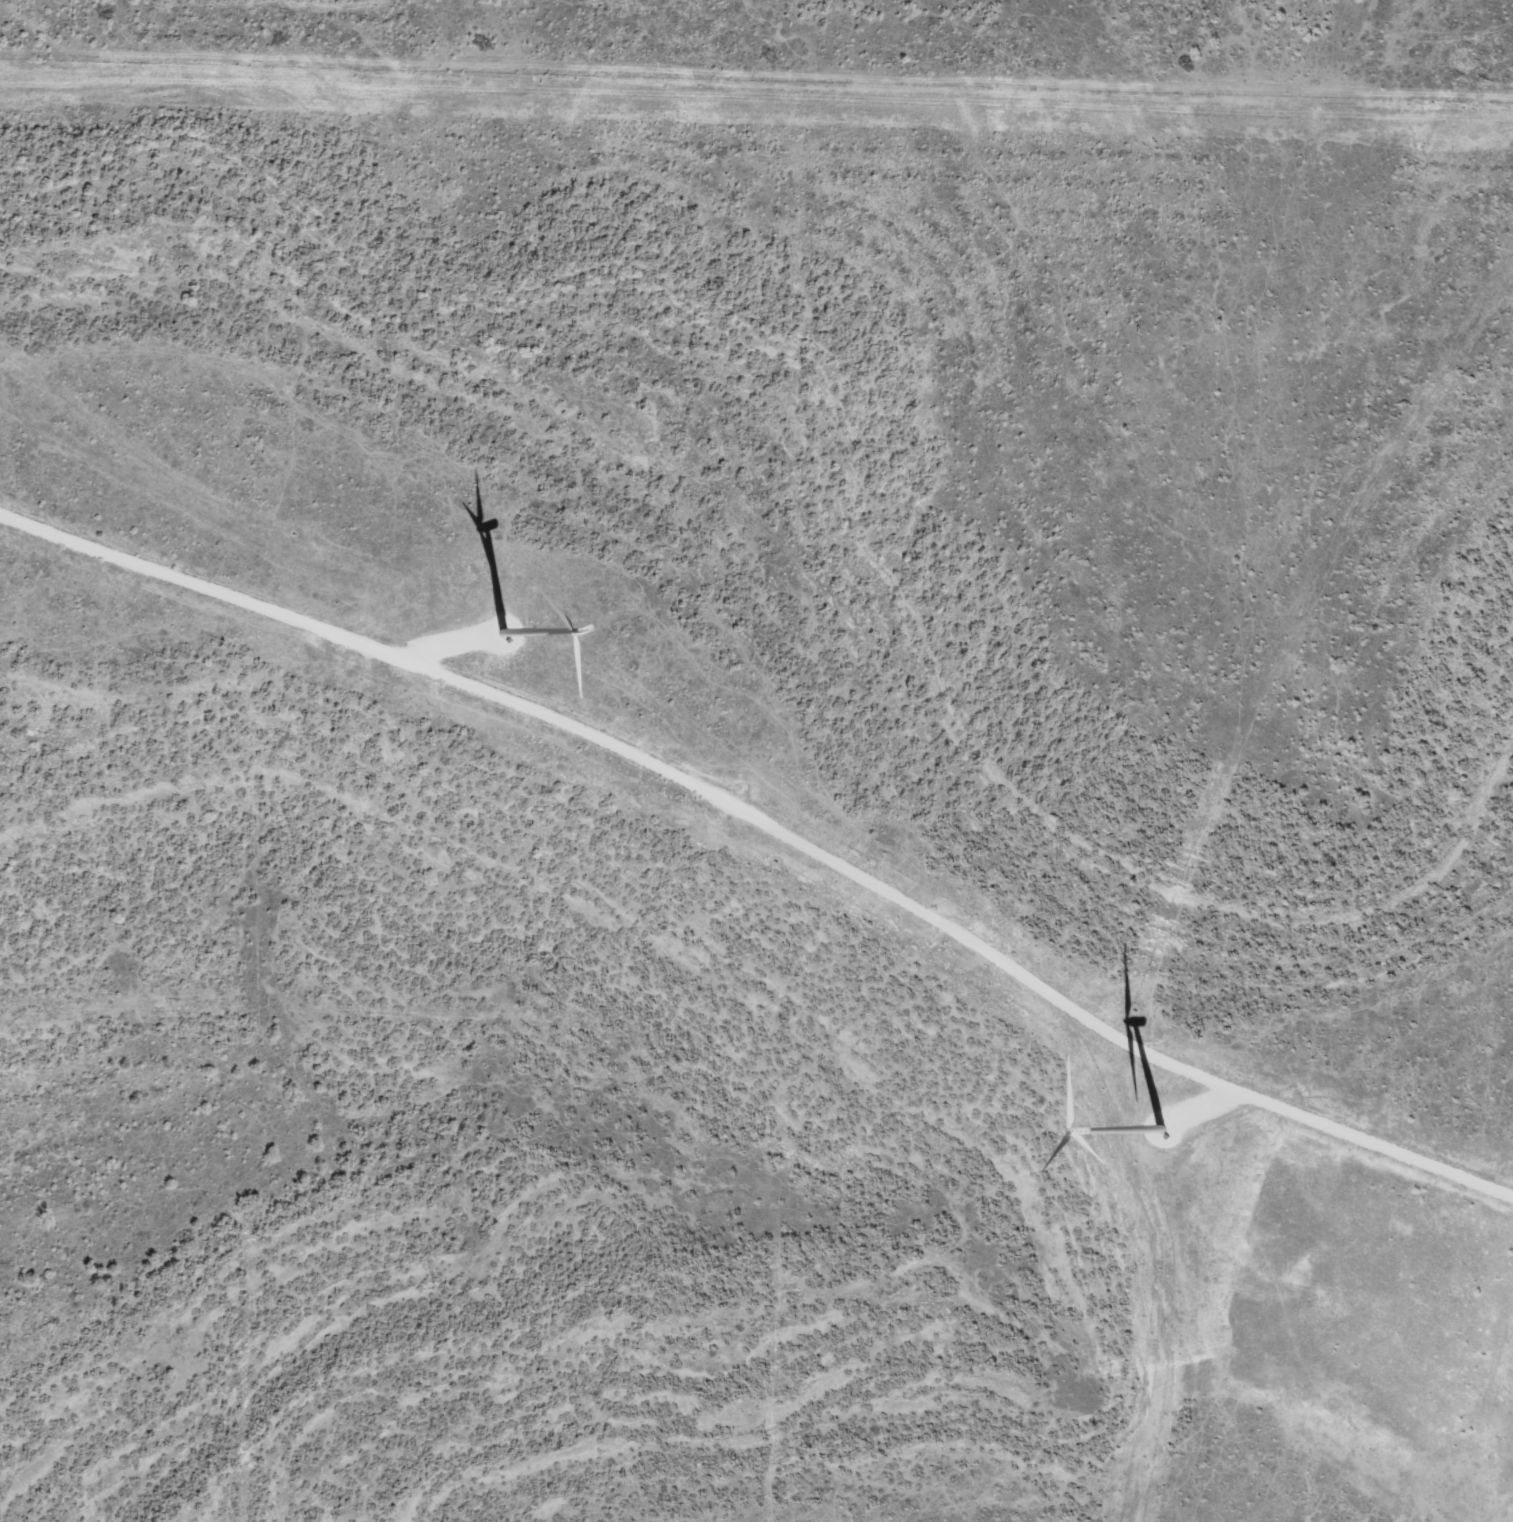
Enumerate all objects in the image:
wind turbine: (503, 633)
road: (767, 832)
wind turbine: (1162, 1128)

